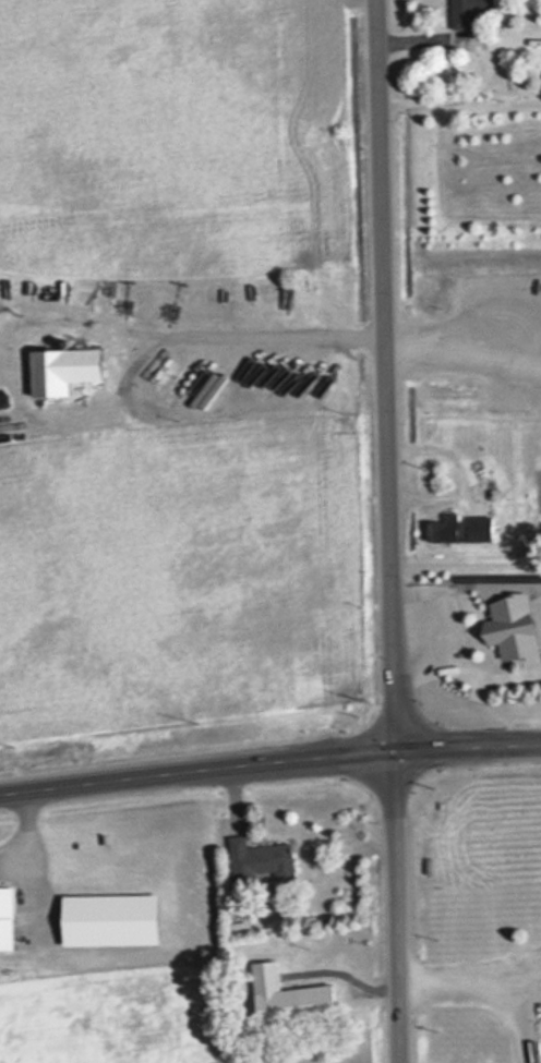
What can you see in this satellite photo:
building: (466, 12)
road: (386, 370)
building: (60, 372)
building: (442, 530)
building: (455, 644)
building: (471, 683)
road: (269, 756)
building: (259, 866)
road: (397, 902)
building: (5, 919)
building: (286, 992)

